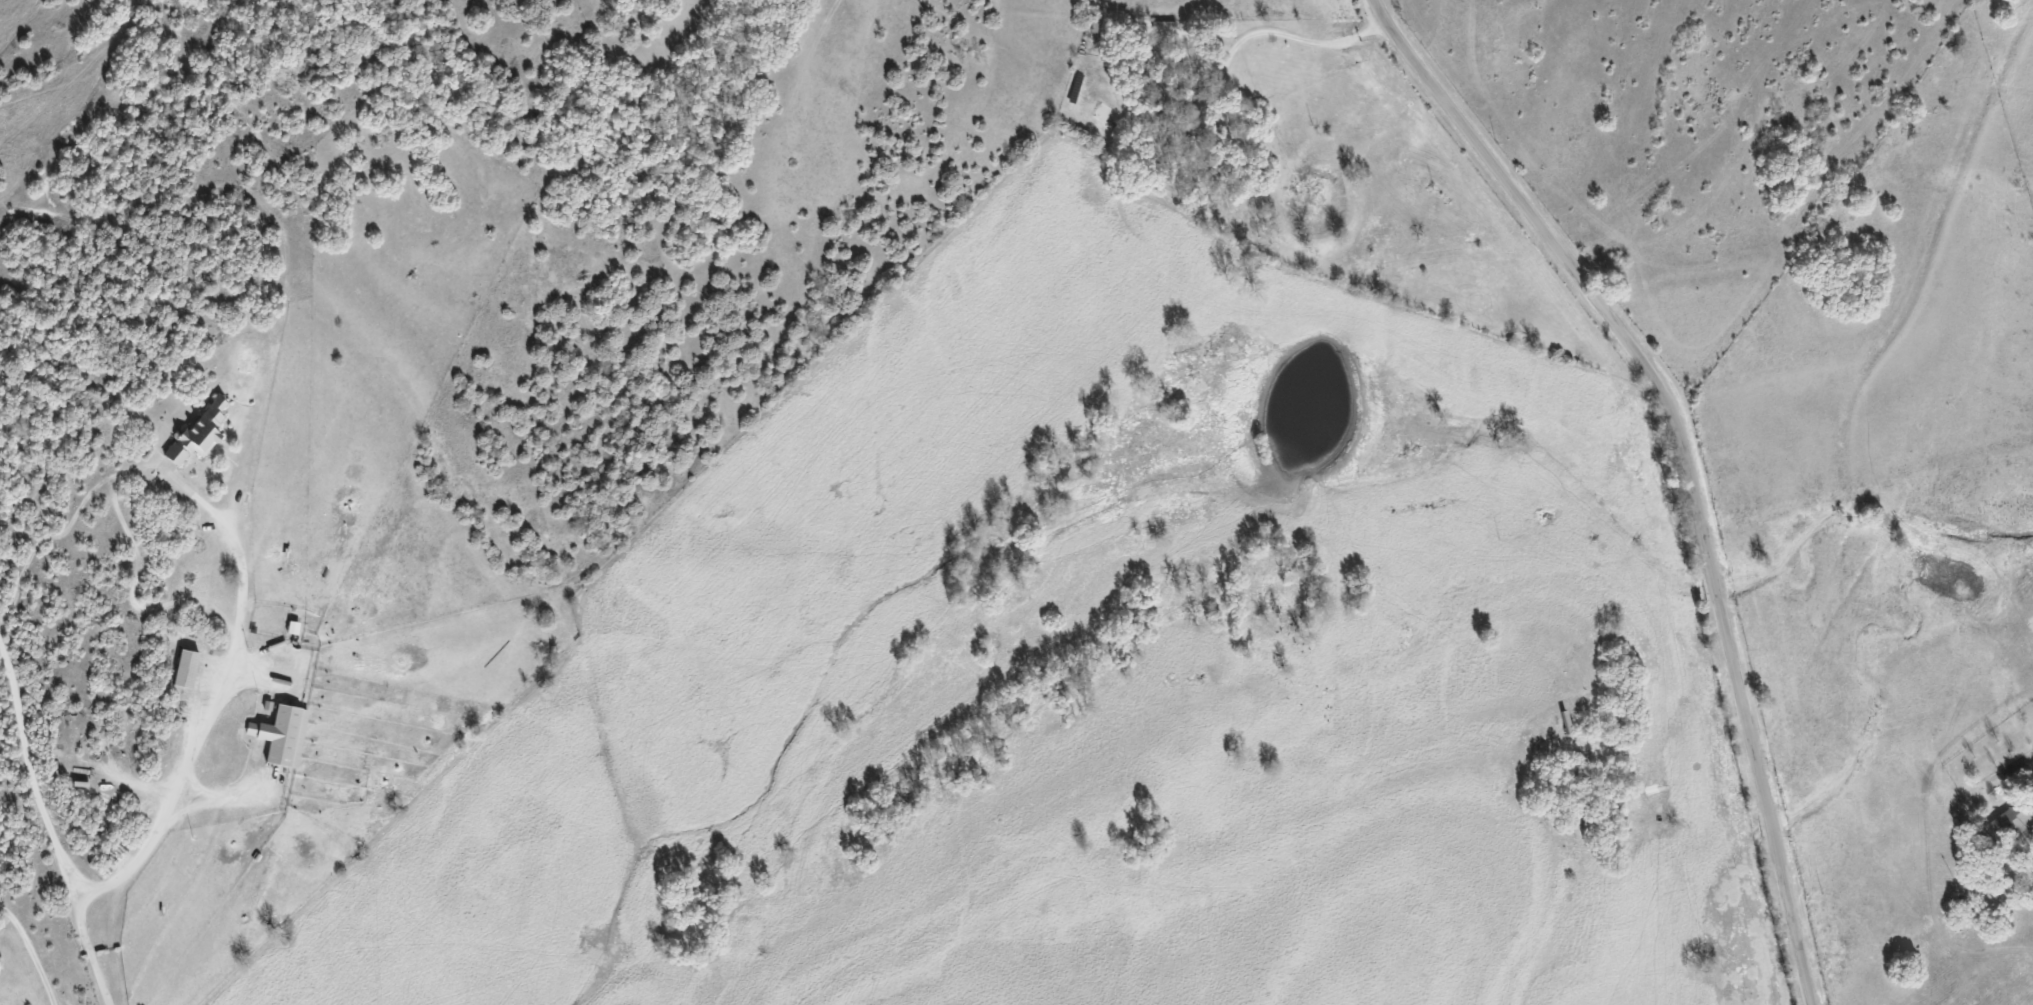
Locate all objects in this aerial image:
road: (1298, 37)
building: (201, 431)
road: (1685, 460)
building: (187, 668)
building: (284, 735)
road: (189, 747)
road: (29, 785)
building: (2015, 819)
road: (31, 952)

